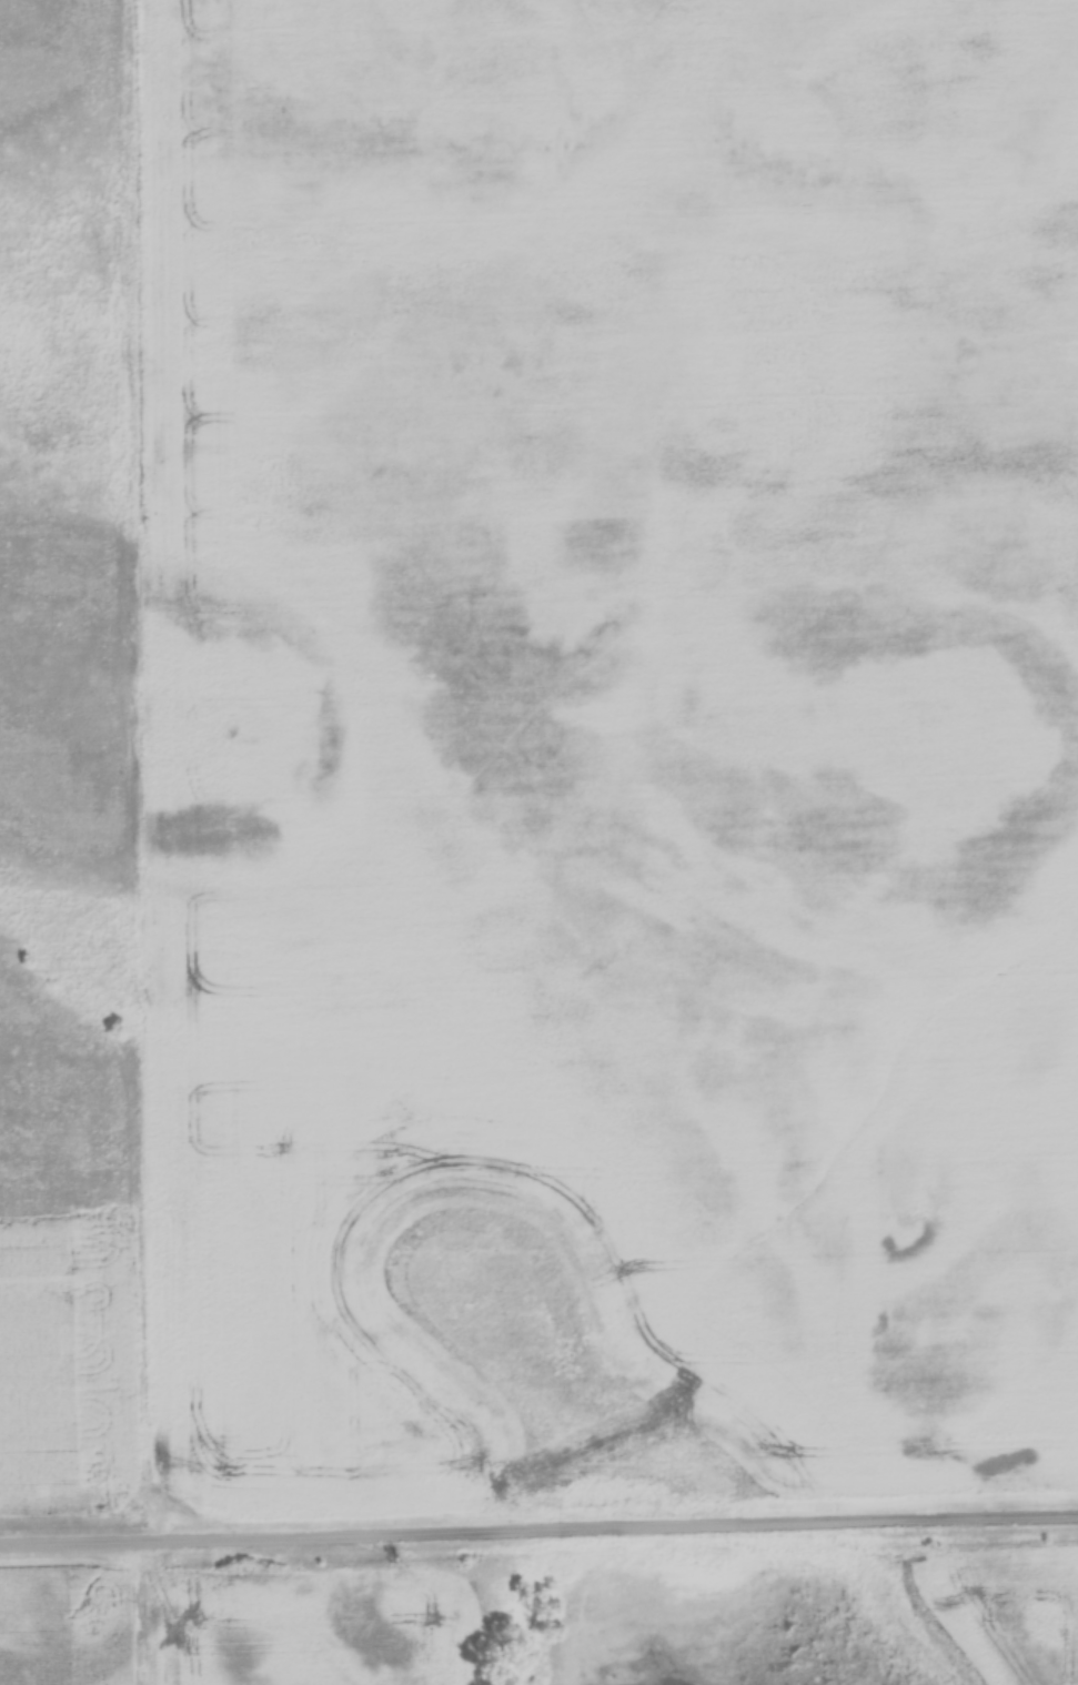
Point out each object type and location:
road: (538, 1530)

